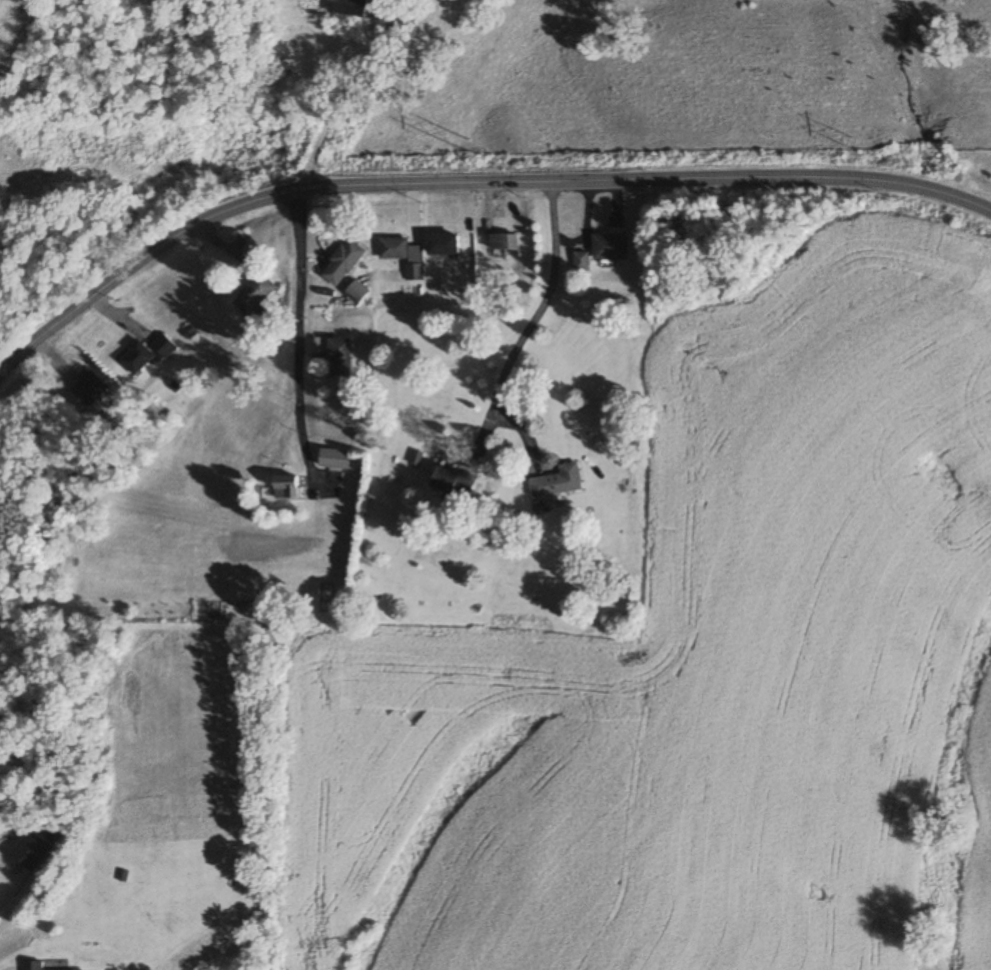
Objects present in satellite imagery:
building: (349, 8)
crop: (8, 24)
power tower: (848, 143)
power tower: (463, 144)
road: (469, 179)
building: (610, 242)
building: (448, 245)
building: (403, 255)
building: (342, 262)
building: (355, 293)
building: (253, 294)
road: (521, 324)
road: (297, 341)
building: (163, 347)
building: (339, 357)
building: (136, 358)
building: (86, 393)
road: (479, 432)
building: (334, 459)
building: (454, 482)
building: (557, 482)
building: (285, 487)
building: (325, 598)
crop: (708, 673)
building: (30, 850)
building: (32, 965)

